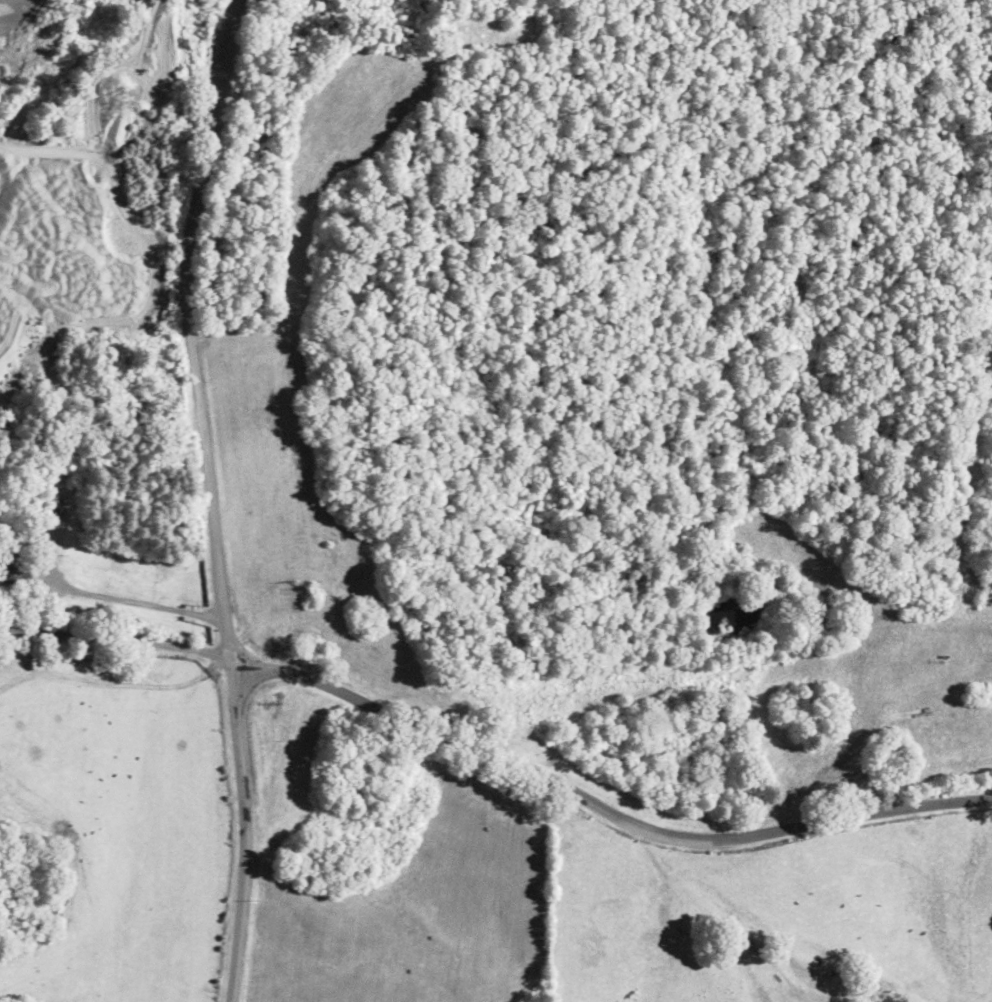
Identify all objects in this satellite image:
road: (70, 357)
road: (165, 498)
road: (152, 626)
building: (11, 725)
road: (489, 748)

